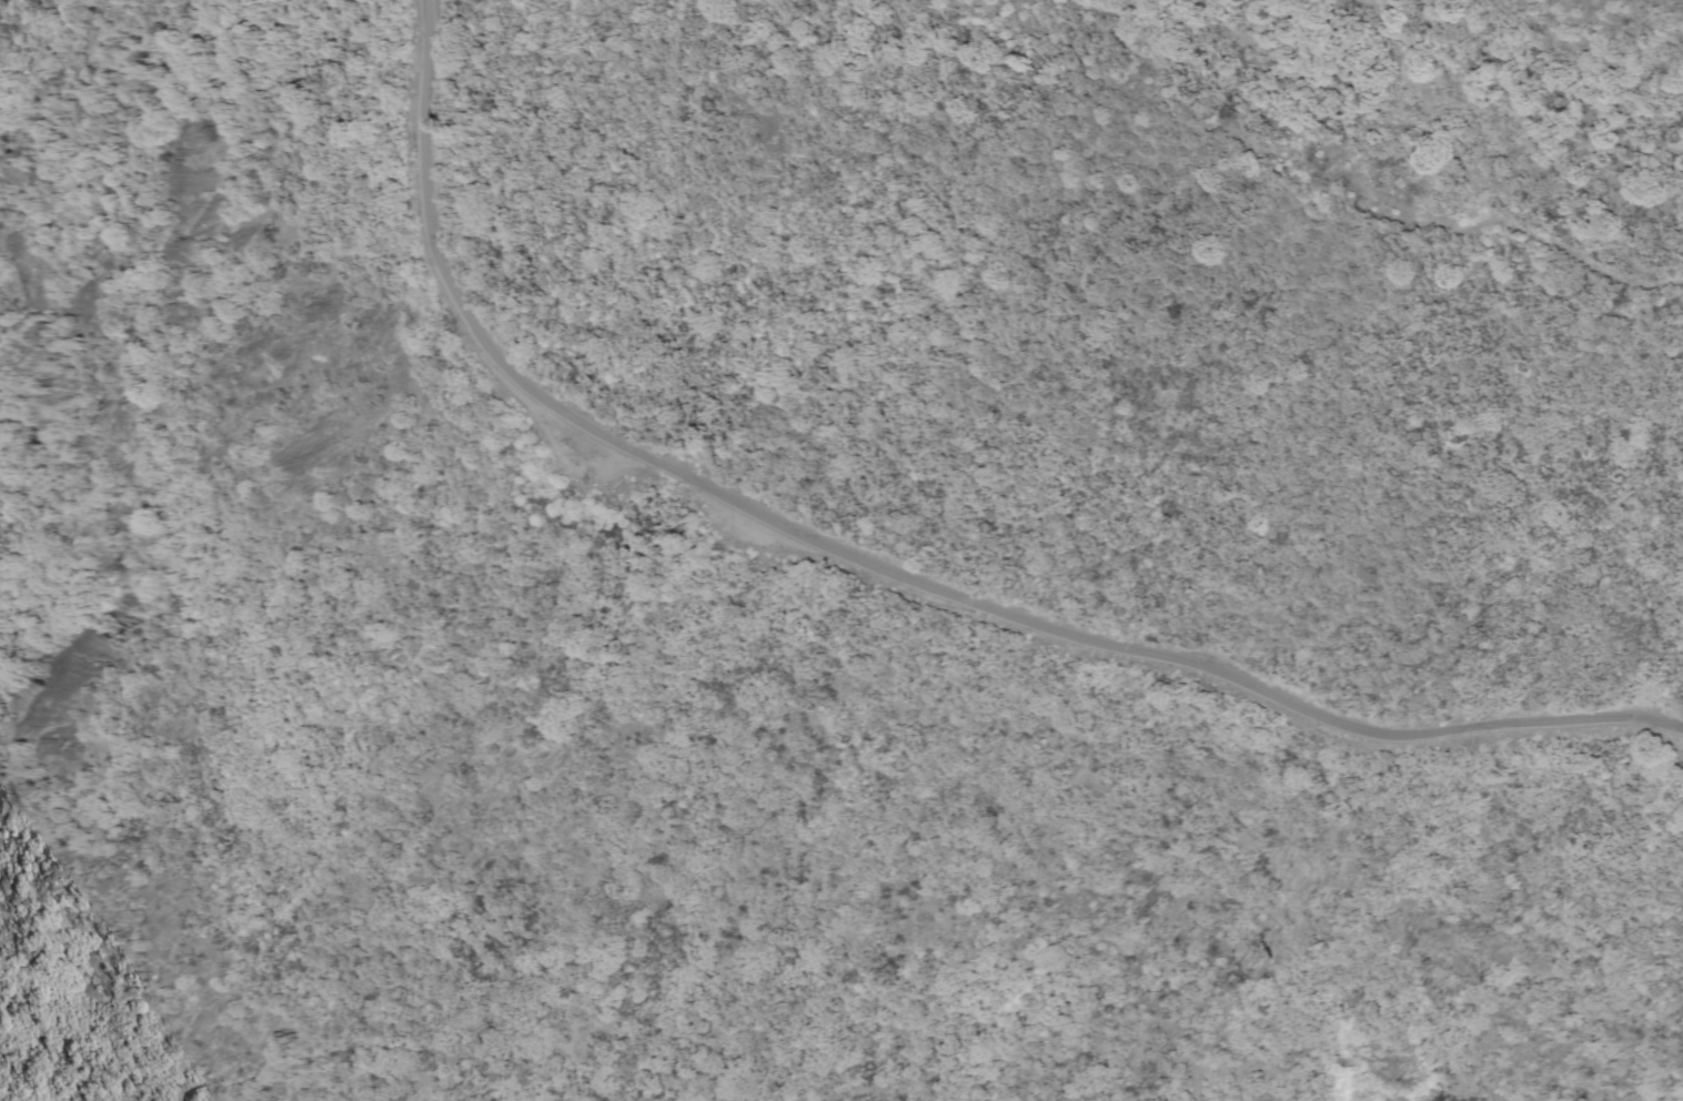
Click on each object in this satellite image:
power tower: (1248, 119)
power tower: (1613, 300)
road: (887, 563)

